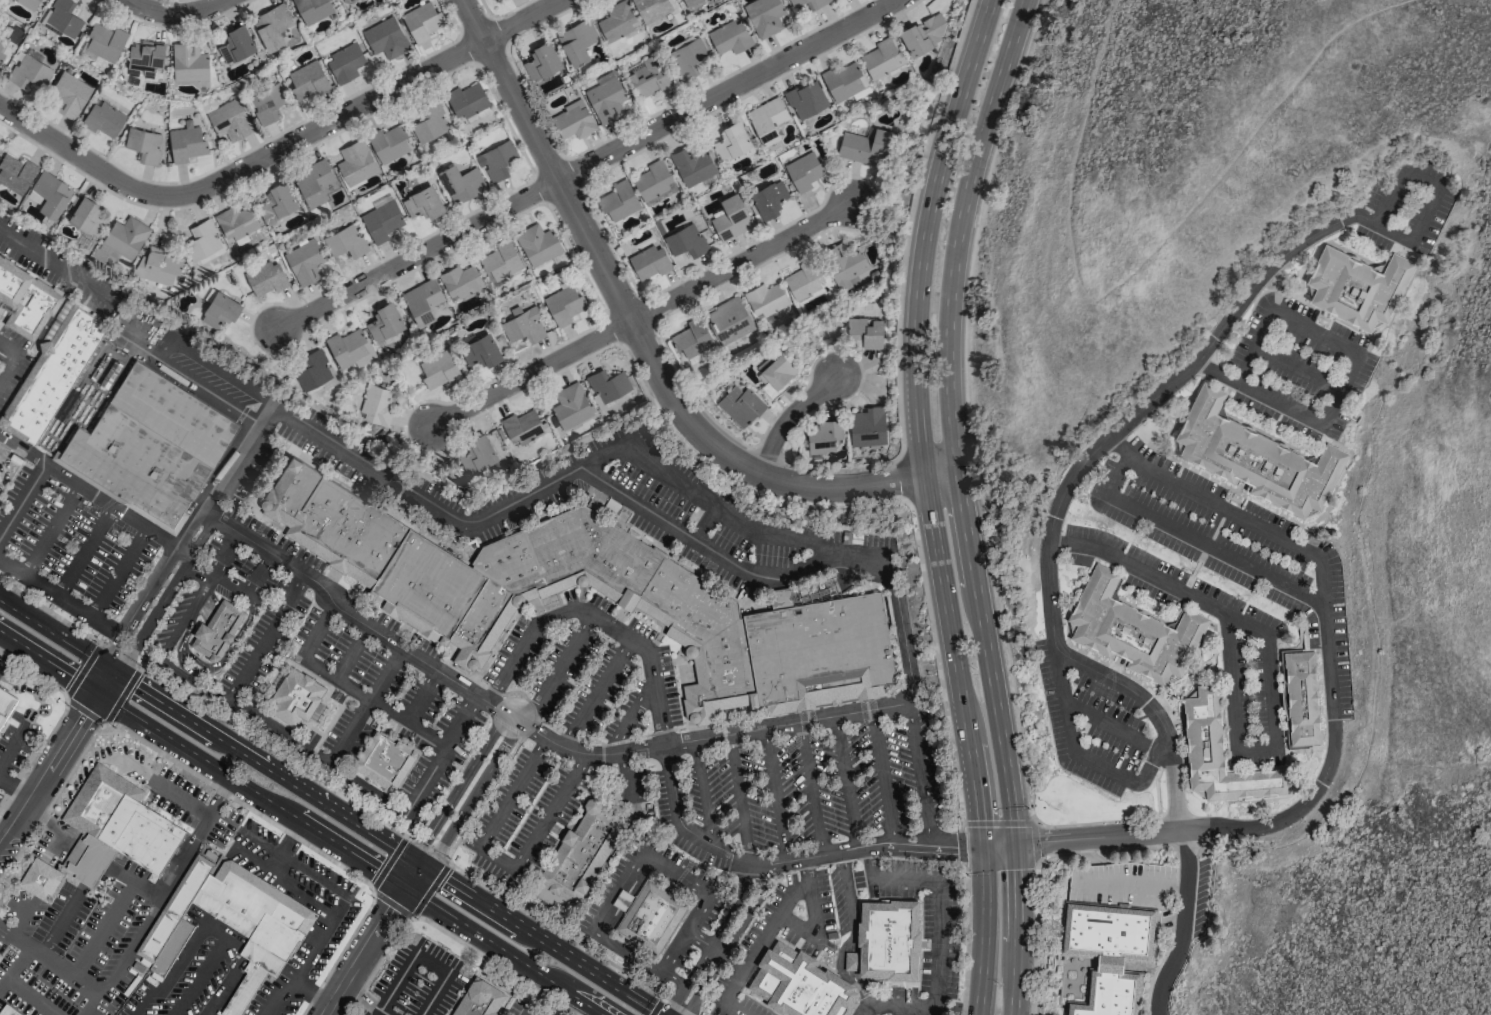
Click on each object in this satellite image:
building: (343, 0)
building: (691, 2)
building: (795, 2)
building: (28, 3)
building: (817, 3)
building: (312, 9)
building: (651, 9)
road: (171, 13)
building: (763, 16)
building: (62, 17)
building: (616, 20)
building: (421, 21)
building: (271, 25)
building: (922, 34)
building: (384, 37)
building: (729, 37)
building: (576, 41)
building: (103, 42)
building: (235, 43)
building: (3, 44)
building: (144, 55)
building: (687, 55)
building: (881, 58)
building: (540, 60)
building: (188, 61)
building: (344, 63)
building: (28, 71)
building: (650, 76)
building: (307, 79)
building: (844, 81)
building: (67, 95)
building: (805, 98)
building: (605, 99)
building: (465, 100)
building: (265, 103)
building: (102, 119)
building: (573, 119)
building: (766, 119)
building: (228, 120)
building: (429, 122)
building: (185, 142)
building: (732, 142)
building: (388, 143)
building: (143, 144)
road: (277, 147)
building: (866, 147)
building: (495, 160)
building: (355, 162)
road: (582, 163)
building: (691, 164)
building: (803, 170)
building: (15, 172)
building: (312, 181)
building: (460, 182)
building: (653, 182)
building: (48, 193)
building: (768, 198)
building: (619, 200)
building: (276, 201)
building: (422, 202)
building: (85, 214)
building: (730, 217)
building: (381, 220)
building: (235, 222)
building: (125, 236)
building: (200, 240)
building: (685, 240)
building: (344, 241)
road: (1301, 242)
building: (537, 244)
building: (500, 260)
road: (742, 260)
road: (1144, 260)
building: (304, 261)
building: (649, 261)
road: (56, 265)
building: (156, 265)
building: (843, 266)
building: (265, 277)
building: (803, 279)
building: (459, 281)
building: (1356, 287)
building: (765, 299)
building: (25, 300)
building: (422, 300)
building: (563, 304)
building: (218, 309)
building: (728, 319)
building: (384, 321)
building: (522, 324)
building: (863, 332)
building: (691, 339)
road: (640, 340)
building: (348, 346)
road: (7, 349)
building: (481, 350)
road: (7, 365)
building: (313, 369)
building: (438, 369)
road: (1296, 369)
road: (220, 371)
building: (50, 372)
road: (528, 373)
building: (775, 374)
road: (1347, 374)
road: (191, 381)
building: (607, 384)
building: (375, 404)
building: (739, 404)
building: (570, 405)
road: (788, 415)
building: (866, 426)
building: (518, 429)
building: (823, 434)
building: (148, 447)
building: (477, 453)
road: (640, 453)
building: (1255, 458)
road: (228, 478)
road: (21, 498)
road: (931, 504)
road: (962, 504)
road: (125, 515)
road: (1261, 527)
road: (51, 530)
road: (1197, 541)
road: (702, 545)
road: (87, 553)
road: (119, 573)
road: (258, 573)
building: (467, 589)
road: (201, 592)
road: (61, 598)
road: (140, 605)
road: (154, 614)
road: (596, 619)
building: (219, 631)
road: (318, 631)
building: (1132, 631)
road: (54, 636)
road: (265, 637)
road: (2, 638)
road: (352, 653)
road: (1268, 658)
road: (48, 662)
parking lot: (562, 665)
road: (205, 669)
road: (82, 670)
road: (558, 670)
traffic signals: (109, 671)
road: (34, 673)
road: (103, 682)
traffic signals: (97, 693)
road: (597, 693)
road: (121, 696)
road: (421, 697)
building: (298, 698)
building: (1301, 699)
road: (364, 704)
road: (373, 704)
building: (6, 705)
road: (84, 711)
road: (205, 711)
road: (633, 715)
road: (26, 716)
road: (1152, 716)
road: (1110, 726)
road: (529, 727)
road: (277, 731)
road: (443, 754)
building: (1220, 755)
building: (385, 762)
road: (264, 768)
road: (50, 769)
road: (919, 774)
road: (881, 776)
road: (626, 779)
road: (846, 781)
road: (458, 787)
road: (367, 788)
road: (811, 788)
road: (250, 790)
road: (15, 791)
road: (703, 791)
road: (513, 793)
road: (774, 795)
road: (473, 796)
road: (221, 797)
road: (740, 798)
road: (73, 803)
road: (241, 804)
road: (552, 812)
road: (44, 814)
road: (224, 823)
road: (681, 823)
road: (998, 823)
building: (115, 828)
road: (291, 839)
road: (1035, 842)
road: (866, 845)
traffic signals: (984, 845)
traffic signals: (1013, 845)
road: (963, 848)
road: (184, 853)
building: (582, 853)
road: (432, 856)
road: (498, 859)
road: (869, 862)
road: (389, 863)
traffic signals: (419, 867)
road: (412, 876)
road: (906, 879)
building: (40, 880)
road: (142, 882)
road: (283, 884)
road: (1131, 884)
traffic signals: (405, 886)
road: (429, 891)
road: (706, 893)
road: (392, 905)
road: (813, 915)
building: (653, 916)
road: (24, 921)
road: (60, 921)
road: (1038, 921)
building: (229, 923)
road: (1183, 925)
road: (104, 929)
road: (853, 929)
road: (698, 939)
road: (535, 940)
road: (715, 940)
road: (730, 940)
road: (760, 940)
road: (570, 941)
building: (889, 941)
road: (966, 944)
road: (937, 945)
road: (365, 950)
road: (503, 950)
building: (1109, 953)
road: (306, 956)
building: (0, 957)
road: (129, 957)
road: (49, 962)
road: (494, 963)
road: (432, 964)
road: (15, 967)
road: (178, 967)
road: (206, 973)
road: (674, 979)
road: (399, 983)
building: (800, 986)
road: (225, 989)
road: (435, 994)
road: (30, 996)
road: (362, 999)
building: (478, 999)
road: (656, 1007)
road: (902, 1007)
road: (732, 1009)
road: (865, 1010)
building: (7, 1011)
road: (958, 1011)
road: (383, 1013)
road: (529, 1014)

